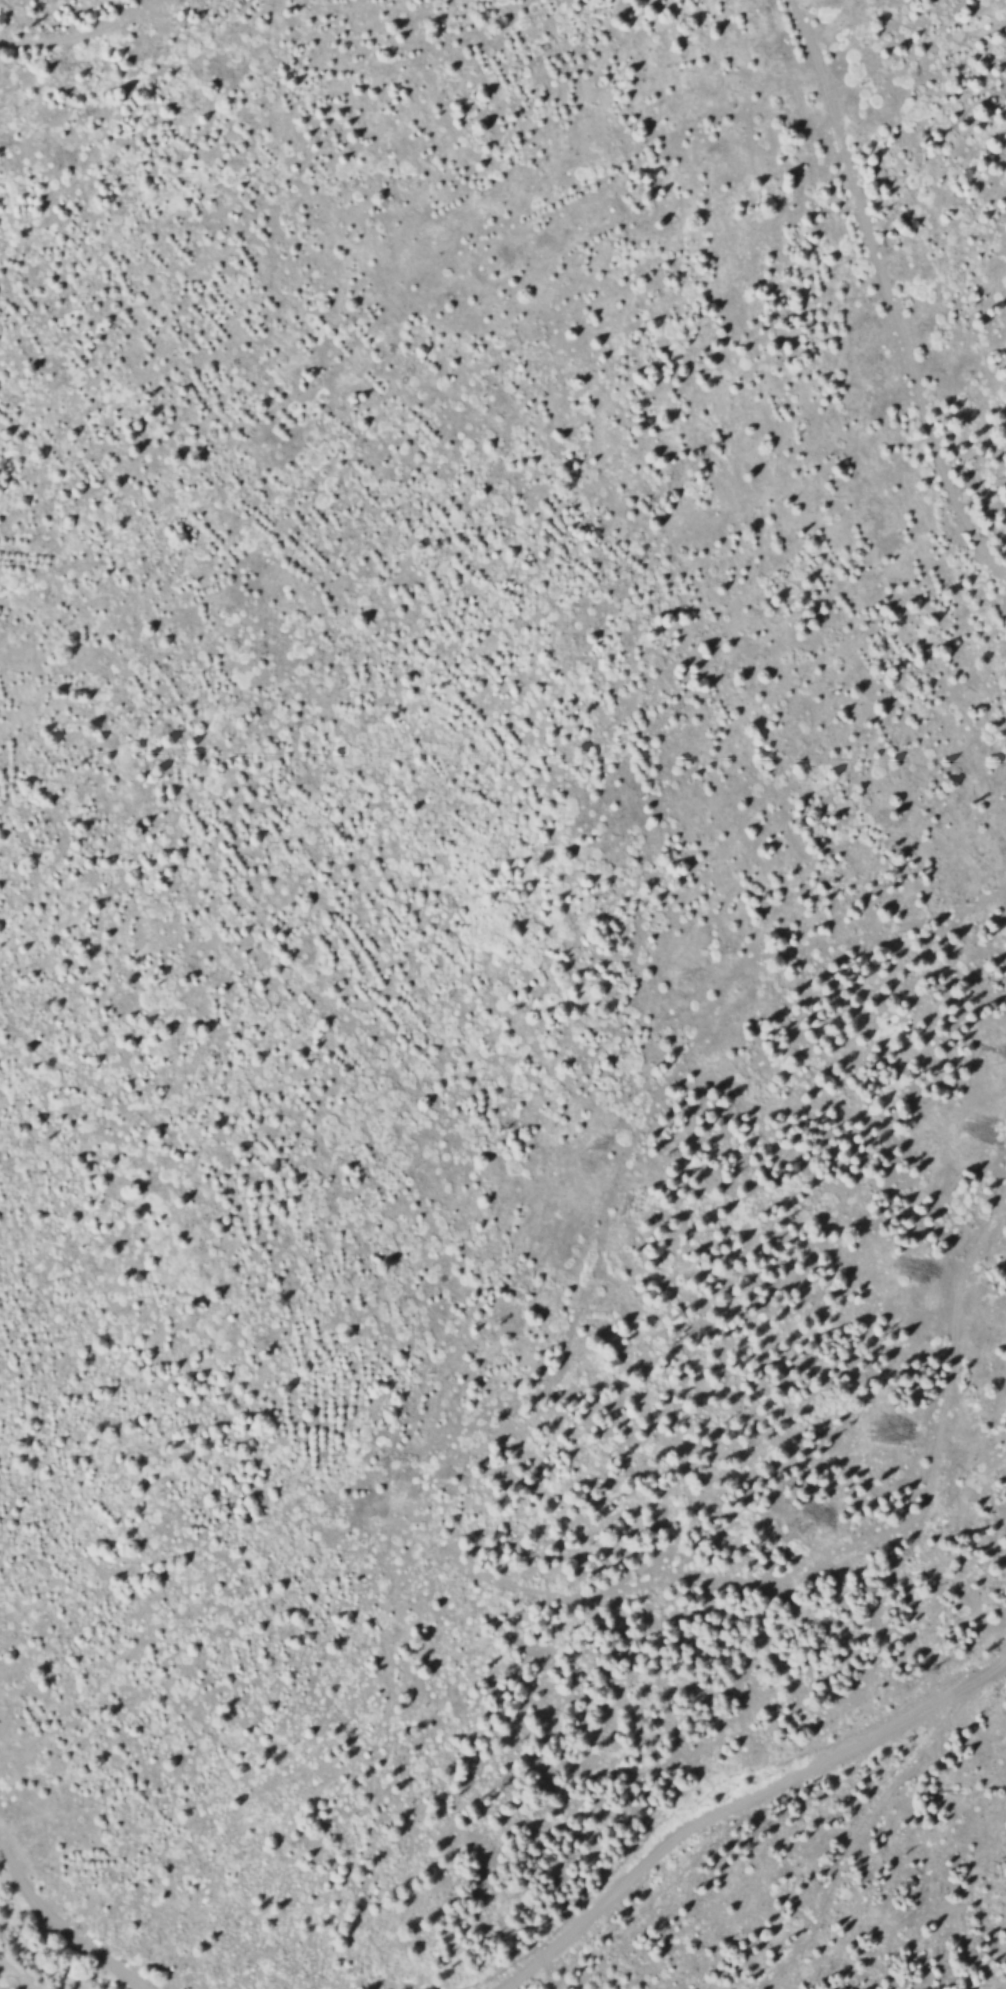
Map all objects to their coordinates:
road: (78, 34)
road: (883, 296)
road: (743, 1801)
road: (858, 1837)
road: (65, 1922)

